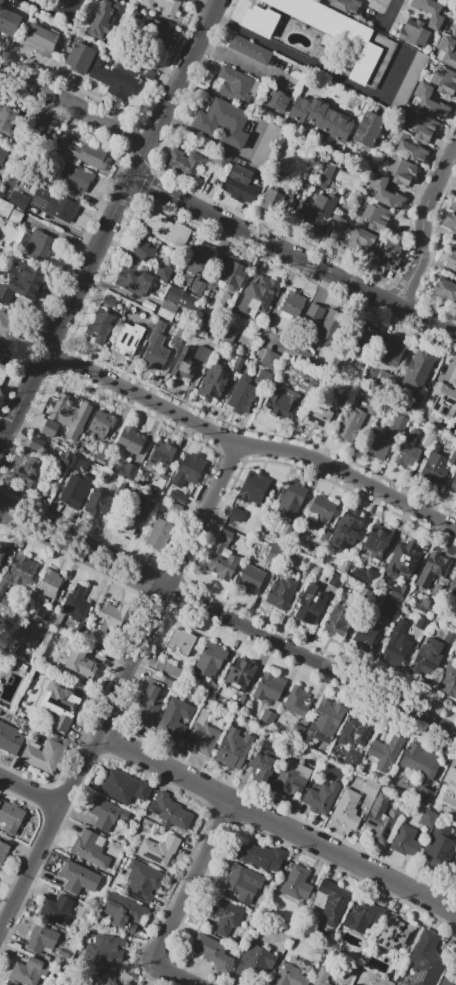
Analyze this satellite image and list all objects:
building: (370, 0)
building: (443, 0)
building: (62, 3)
building: (345, 6)
building: (162, 7)
road: (391, 8)
building: (455, 10)
building: (430, 13)
road: (53, 15)
building: (5, 19)
building: (101, 19)
building: (259, 20)
building: (454, 31)
building: (154, 32)
building: (338, 32)
building: (413, 33)
building: (41, 40)
building: (251, 49)
building: (446, 51)
building: (80, 57)
road: (239, 60)
road: (319, 68)
road: (183, 71)
building: (120, 80)
building: (444, 80)
building: (408, 83)
building: (235, 84)
building: (275, 100)
building: (430, 102)
road: (73, 106)
building: (321, 118)
building: (10, 122)
building: (223, 123)
building: (40, 124)
building: (422, 127)
building: (369, 129)
building: (64, 142)
building: (265, 144)
building: (411, 152)
building: (3, 154)
building: (90, 154)
building: (220, 158)
road: (139, 160)
building: (185, 161)
building: (400, 171)
building: (324, 174)
building: (74, 176)
building: (237, 179)
building: (303, 182)
road: (431, 191)
building: (249, 193)
building: (386, 193)
building: (19, 199)
building: (271, 199)
building: (54, 204)
building: (5, 208)
building: (455, 209)
building: (320, 212)
building: (376, 217)
building: (449, 221)
building: (334, 227)
building: (165, 228)
road: (259, 236)
building: (364, 239)
building: (455, 243)
building: (36, 244)
building: (141, 254)
building: (388, 255)
building: (200, 260)
building: (451, 262)
building: (164, 270)
road: (407, 273)
building: (234, 274)
road: (417, 276)
building: (134, 280)
building: (22, 283)
building: (211, 285)
building: (197, 286)
building: (445, 290)
building: (264, 291)
building: (182, 299)
building: (108, 301)
building: (293, 303)
building: (148, 305)
road: (68, 306)
building: (168, 311)
building: (313, 312)
road: (421, 314)
building: (152, 321)
building: (274, 321)
building: (331, 325)
building: (100, 326)
building: (7, 329)
building: (227, 334)
building: (129, 335)
building: (366, 337)
building: (176, 339)
building: (157, 345)
building: (394, 349)
building: (298, 351)
building: (204, 354)
building: (270, 359)
building: (238, 363)
building: (4, 365)
building: (184, 365)
building: (418, 370)
building: (264, 378)
building: (213, 381)
building: (383, 381)
building: (306, 388)
building: (454, 390)
building: (242, 395)
building: (283, 402)
building: (455, 402)
building: (409, 404)
building: (373, 409)
building: (64, 410)
building: (317, 415)
building: (451, 417)
building: (350, 423)
building: (102, 424)
building: (49, 428)
road: (2, 435)
building: (384, 438)
building: (130, 439)
building: (430, 439)
road: (2, 440)
building: (37, 444)
road: (249, 447)
building: (408, 450)
building: (162, 453)
building: (453, 459)
building: (434, 467)
building: (188, 470)
building: (128, 471)
building: (30, 472)
building: (74, 479)
building: (159, 481)
building: (452, 485)
building: (254, 487)
building: (179, 497)
building: (291, 499)
building: (151, 501)
building: (98, 503)
building: (175, 508)
building: (322, 508)
building: (236, 514)
building: (127, 515)
building: (347, 529)
building: (159, 535)
building: (324, 535)
building: (377, 541)
building: (315, 550)
building: (2, 552)
building: (275, 553)
building: (222, 556)
building: (403, 558)
building: (307, 565)
building: (435, 565)
building: (344, 567)
building: (20, 573)
building: (367, 575)
building: (251, 578)
building: (335, 580)
building: (423, 580)
building: (45, 585)
building: (453, 585)
building: (400, 591)
building: (281, 593)
building: (364, 596)
building: (76, 603)
building: (311, 604)
building: (9, 609)
building: (389, 609)
building: (46, 614)
building: (339, 620)
road: (227, 622)
building: (422, 622)
building: (107, 623)
building: (364, 635)
building: (449, 637)
building: (181, 641)
building: (394, 651)
building: (430, 655)
building: (211, 659)
building: (80, 661)
building: (169, 669)
building: (240, 674)
building: (448, 681)
building: (269, 687)
building: (212, 689)
road: (119, 690)
building: (242, 701)
building: (296, 701)
building: (61, 703)
building: (149, 706)
building: (268, 717)
building: (175, 718)
building: (325, 721)
building: (298, 730)
building: (354, 731)
building: (203, 734)
building: (10, 738)
building: (232, 748)
building: (385, 753)
building: (45, 754)
building: (353, 758)
building: (421, 761)
building: (262, 768)
building: (291, 778)
building: (453, 783)
building: (125, 787)
building: (371, 788)
road: (30, 791)
building: (423, 795)
building: (321, 798)
building: (439, 800)
building: (455, 802)
building: (347, 808)
building: (170, 811)
building: (106, 814)
building: (10, 817)
building: (429, 818)
building: (380, 823)
road: (276, 827)
building: (405, 841)
building: (439, 845)
building: (90, 848)
building: (158, 849)
building: (3, 851)
building: (263, 855)
building: (454, 868)
building: (78, 877)
building: (143, 880)
building: (243, 882)
building: (296, 882)
building: (331, 901)
building: (55, 905)
road: (179, 907)
building: (125, 912)
building: (362, 915)
building: (226, 916)
building: (391, 930)
building: (406, 936)
building: (41, 937)
building: (105, 951)
building: (213, 952)
building: (259, 956)
building: (425, 960)
building: (27, 971)
building: (449, 975)
building: (289, 976)
building: (322, 976)
building: (110, 979)
building: (3, 984)

